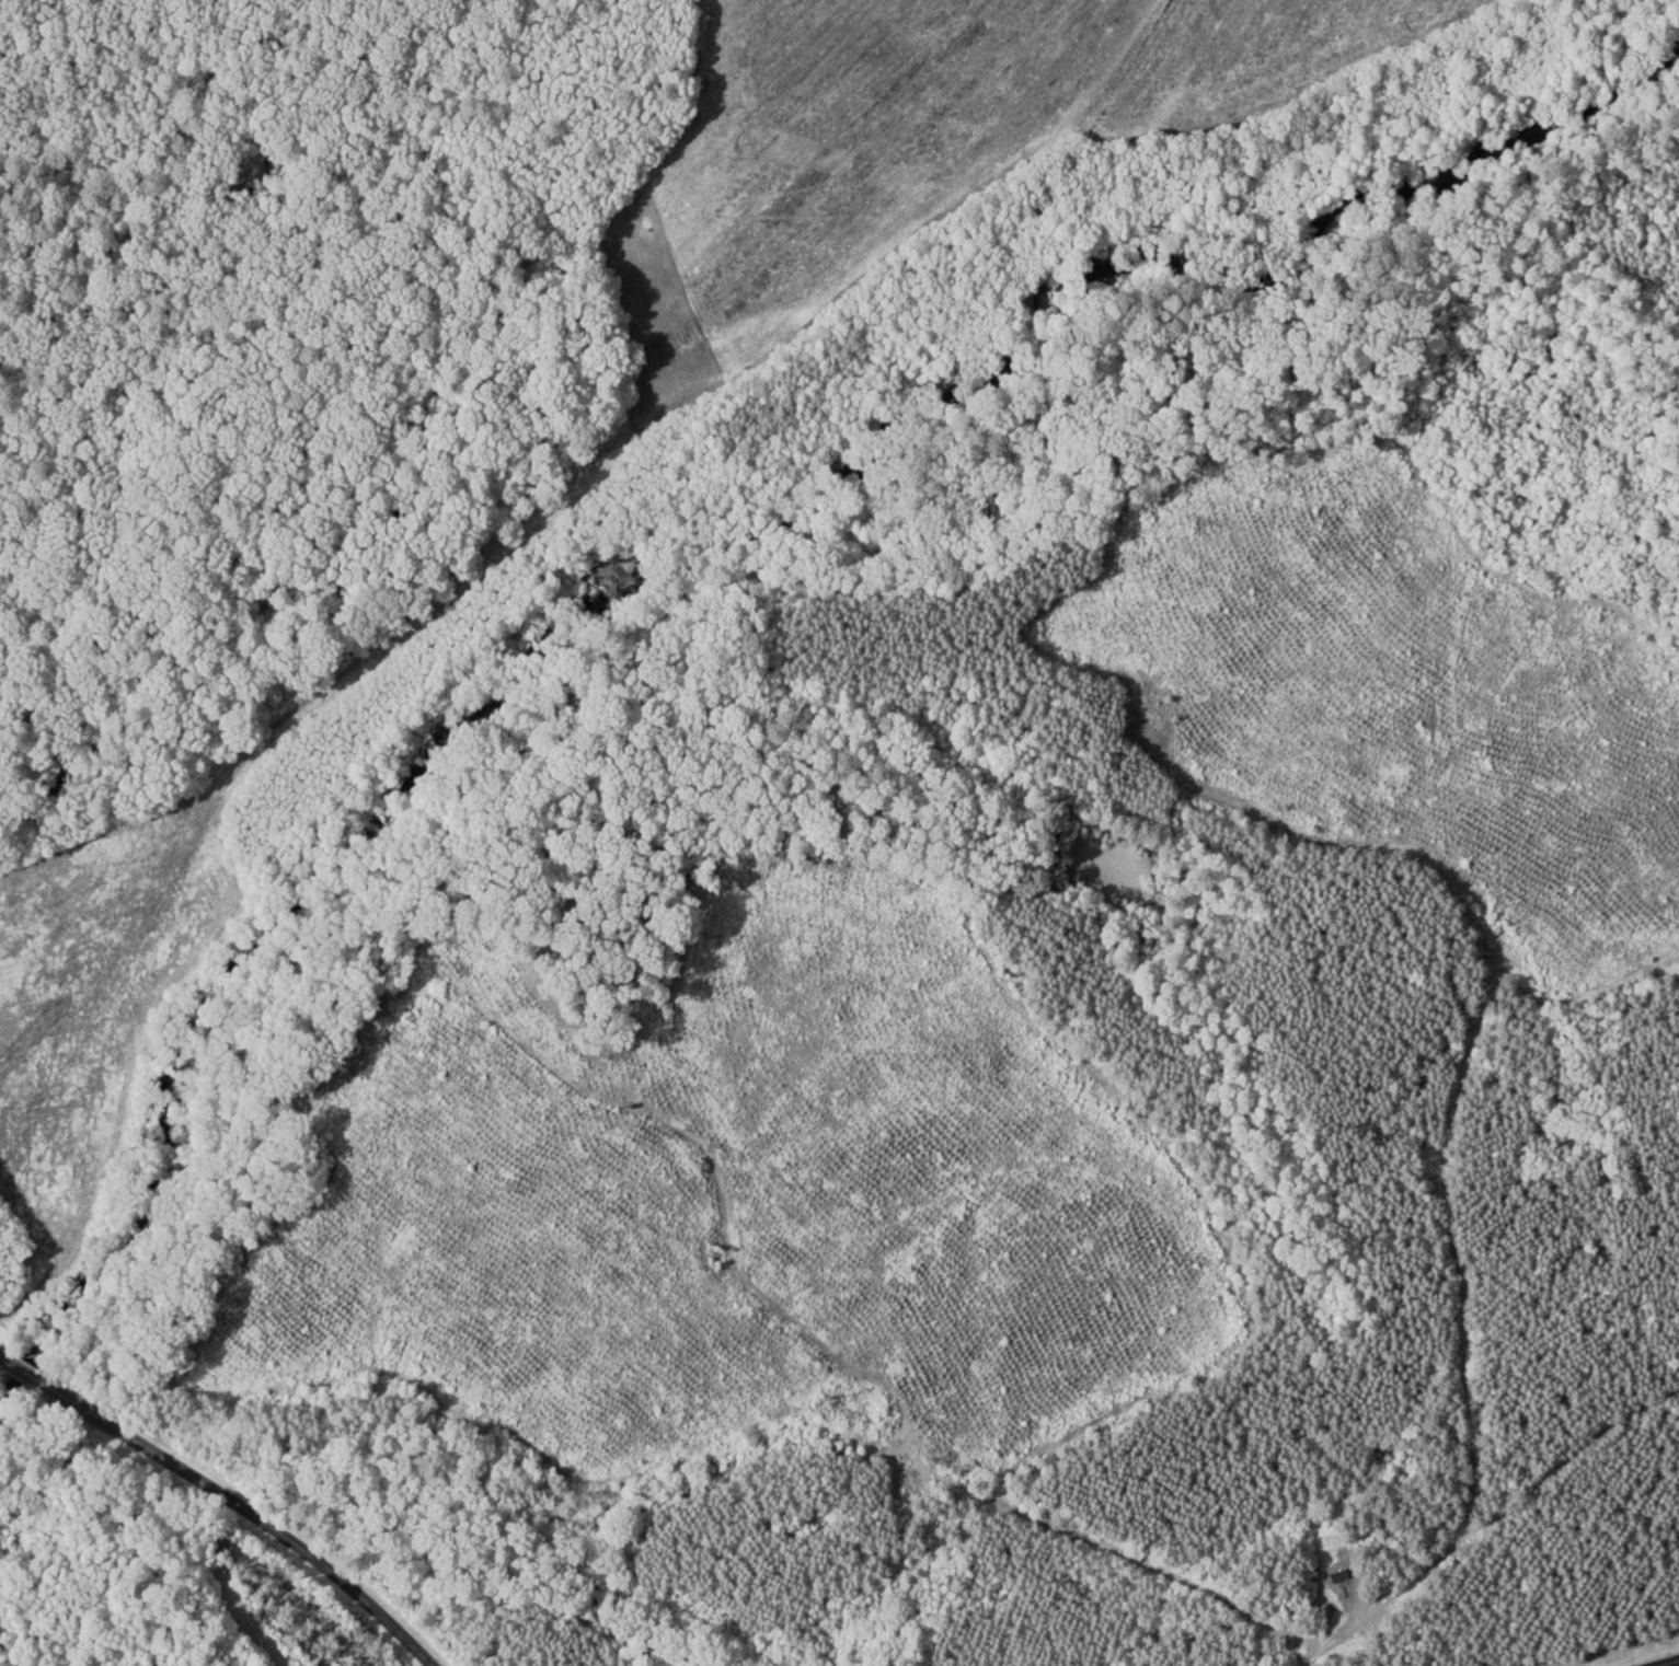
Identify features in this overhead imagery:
road: (228, 1497)
road: (1665, 1662)

